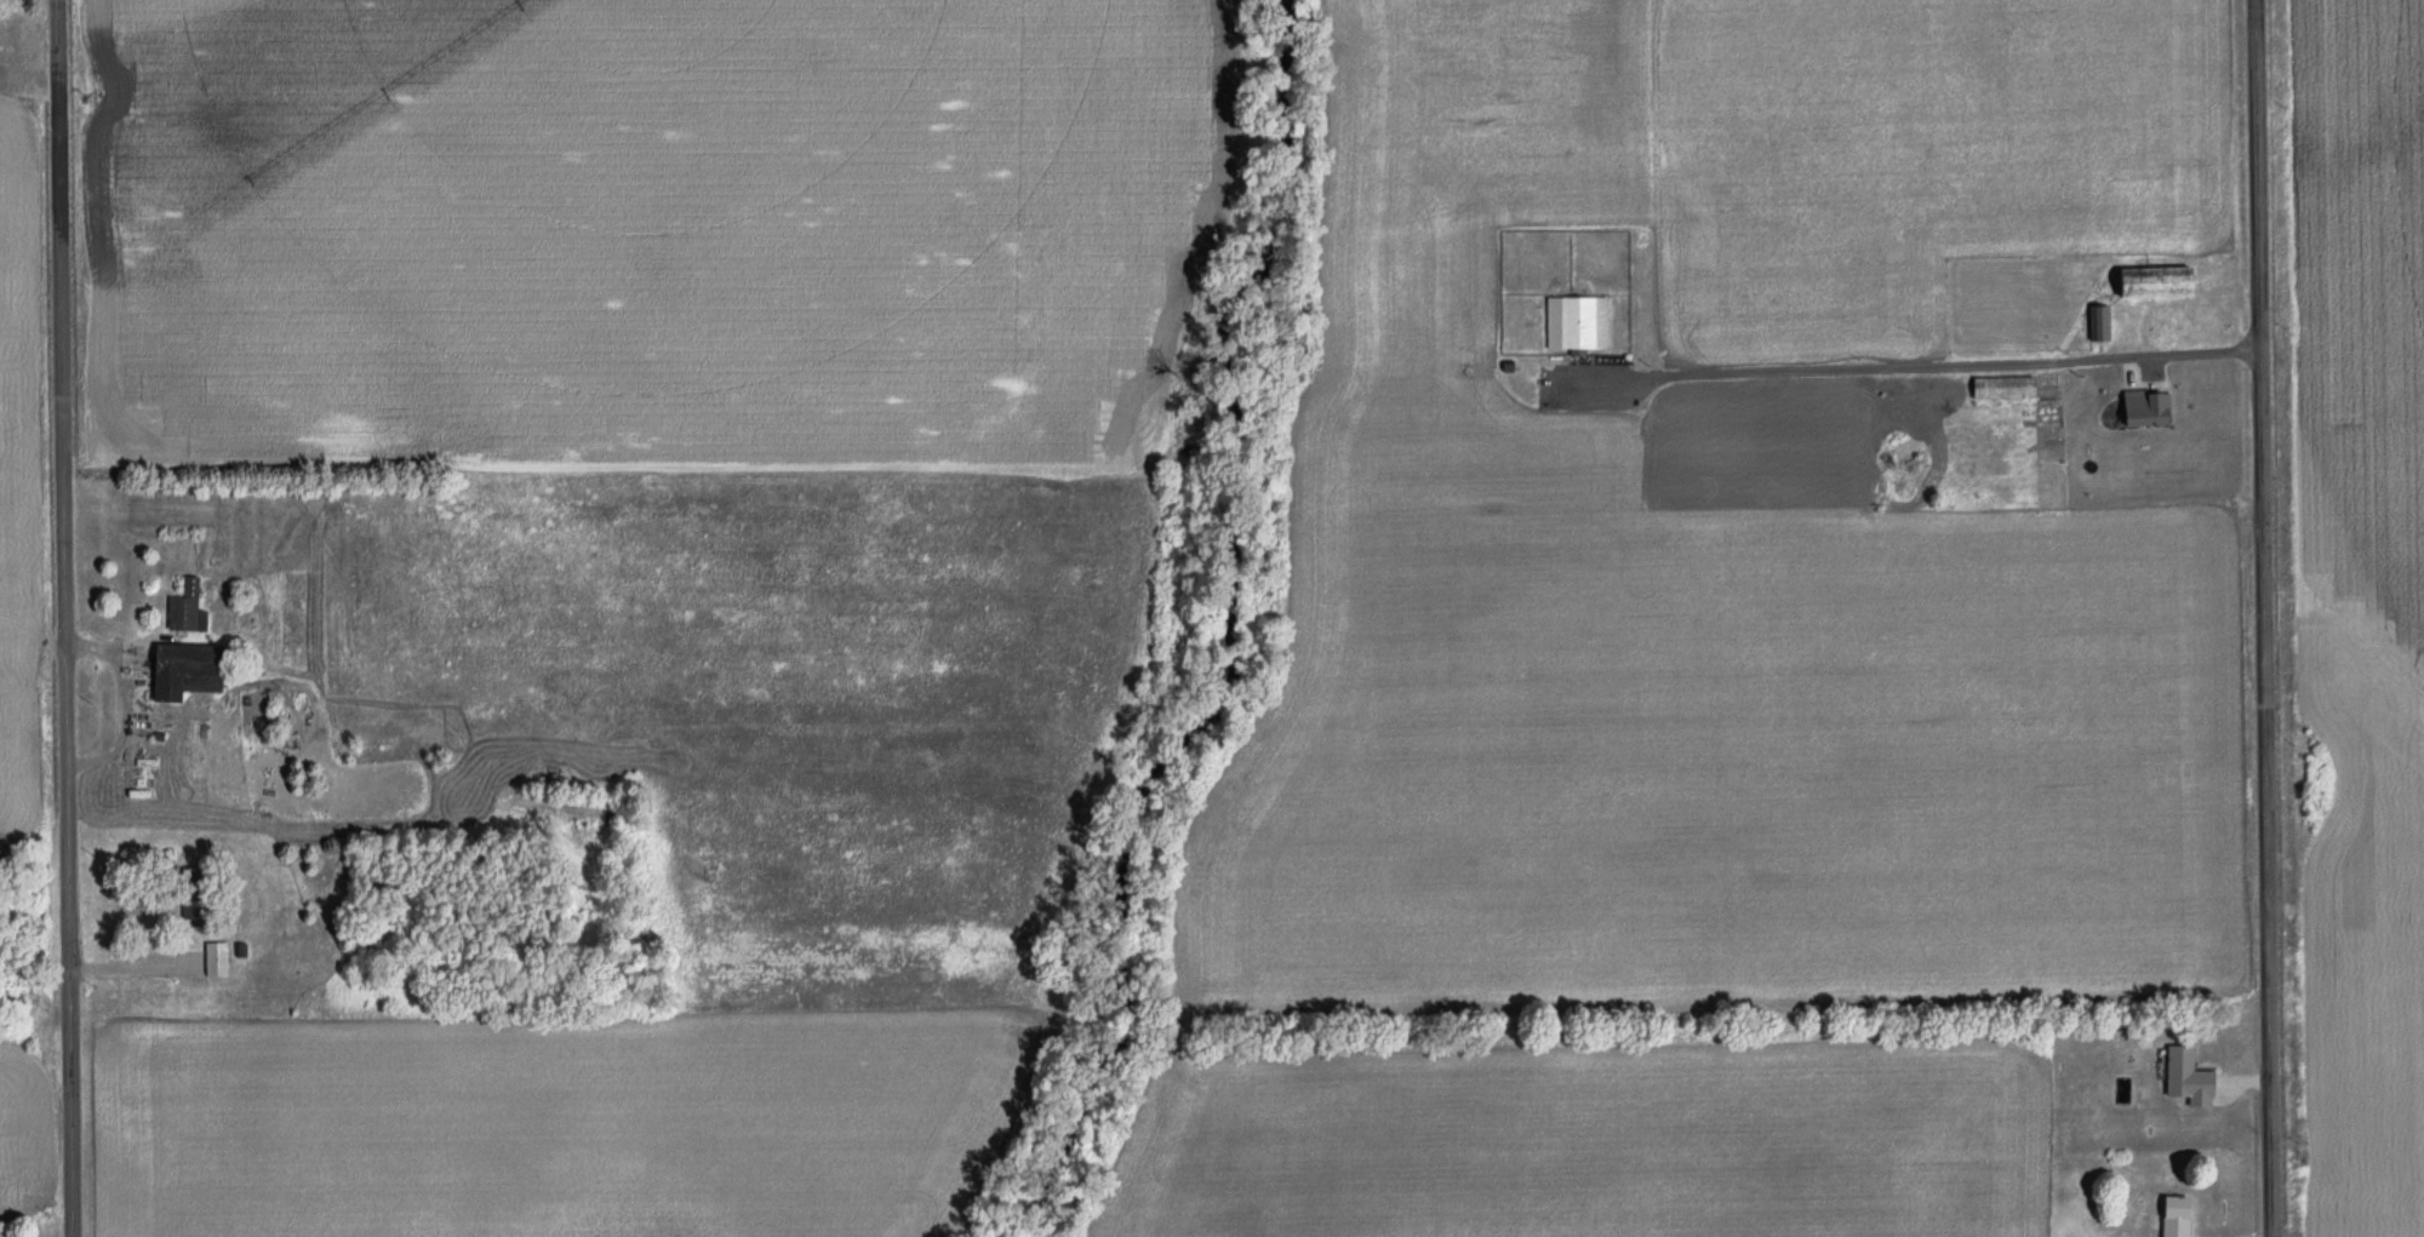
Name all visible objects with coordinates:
building: (2151, 284)
building: (2097, 325)
building: (1574, 326)
road: (1773, 368)
building: (1999, 389)
building: (2144, 411)
building: (183, 611)
road: (62, 618)
road: (2265, 618)
building: (182, 674)
building: (189, 899)
building: (212, 962)
road: (130, 966)
building: (2184, 1081)
building: (2172, 1216)

